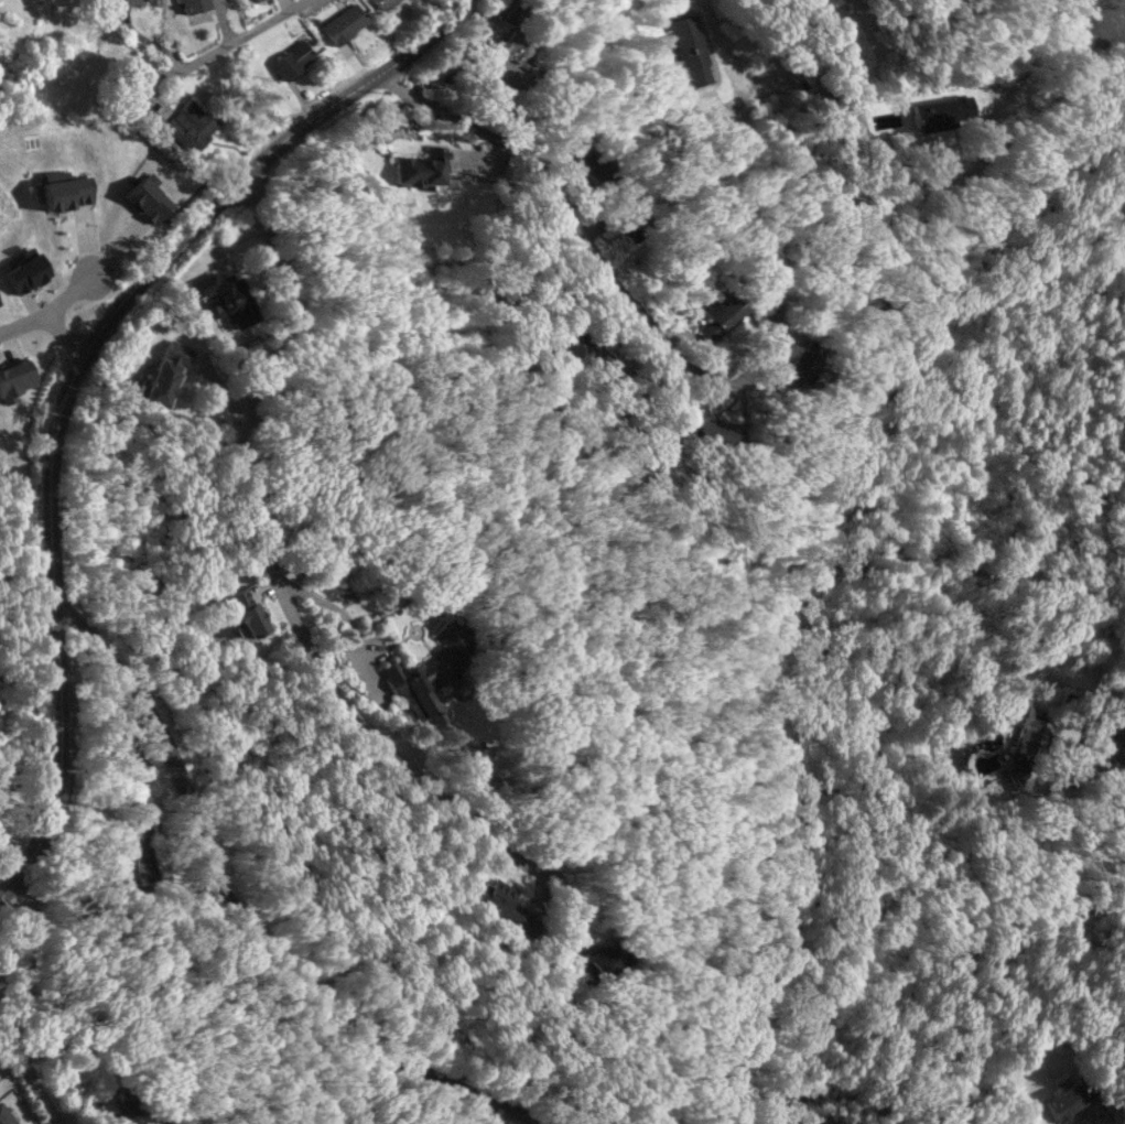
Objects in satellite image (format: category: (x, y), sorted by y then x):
building: (252, 0)
building: (137, 1)
building: (385, 3)
building: (194, 4)
building: (343, 23)
road: (765, 35)
road: (237, 39)
building: (691, 48)
building: (513, 58)
building: (292, 60)
building: (932, 114)
building: (191, 125)
road: (258, 164)
building: (420, 166)
building: (64, 190)
building: (145, 199)
building: (626, 226)
building: (25, 269)
road: (68, 294)
building: (225, 296)
building: (721, 313)
road: (46, 317)
building: (573, 346)
road: (679, 356)
building: (799, 364)
building: (165, 374)
building: (14, 379)
building: (714, 432)
road: (271, 561)
building: (245, 613)
road: (54, 630)
building: (430, 670)
road: (1113, 729)
building: (1026, 744)
building: (1097, 764)
building: (136, 865)
building: (499, 905)
road: (239, 915)
road: (17, 1005)
building: (1068, 1099)
building: (129, 1104)
building: (4, 1117)

